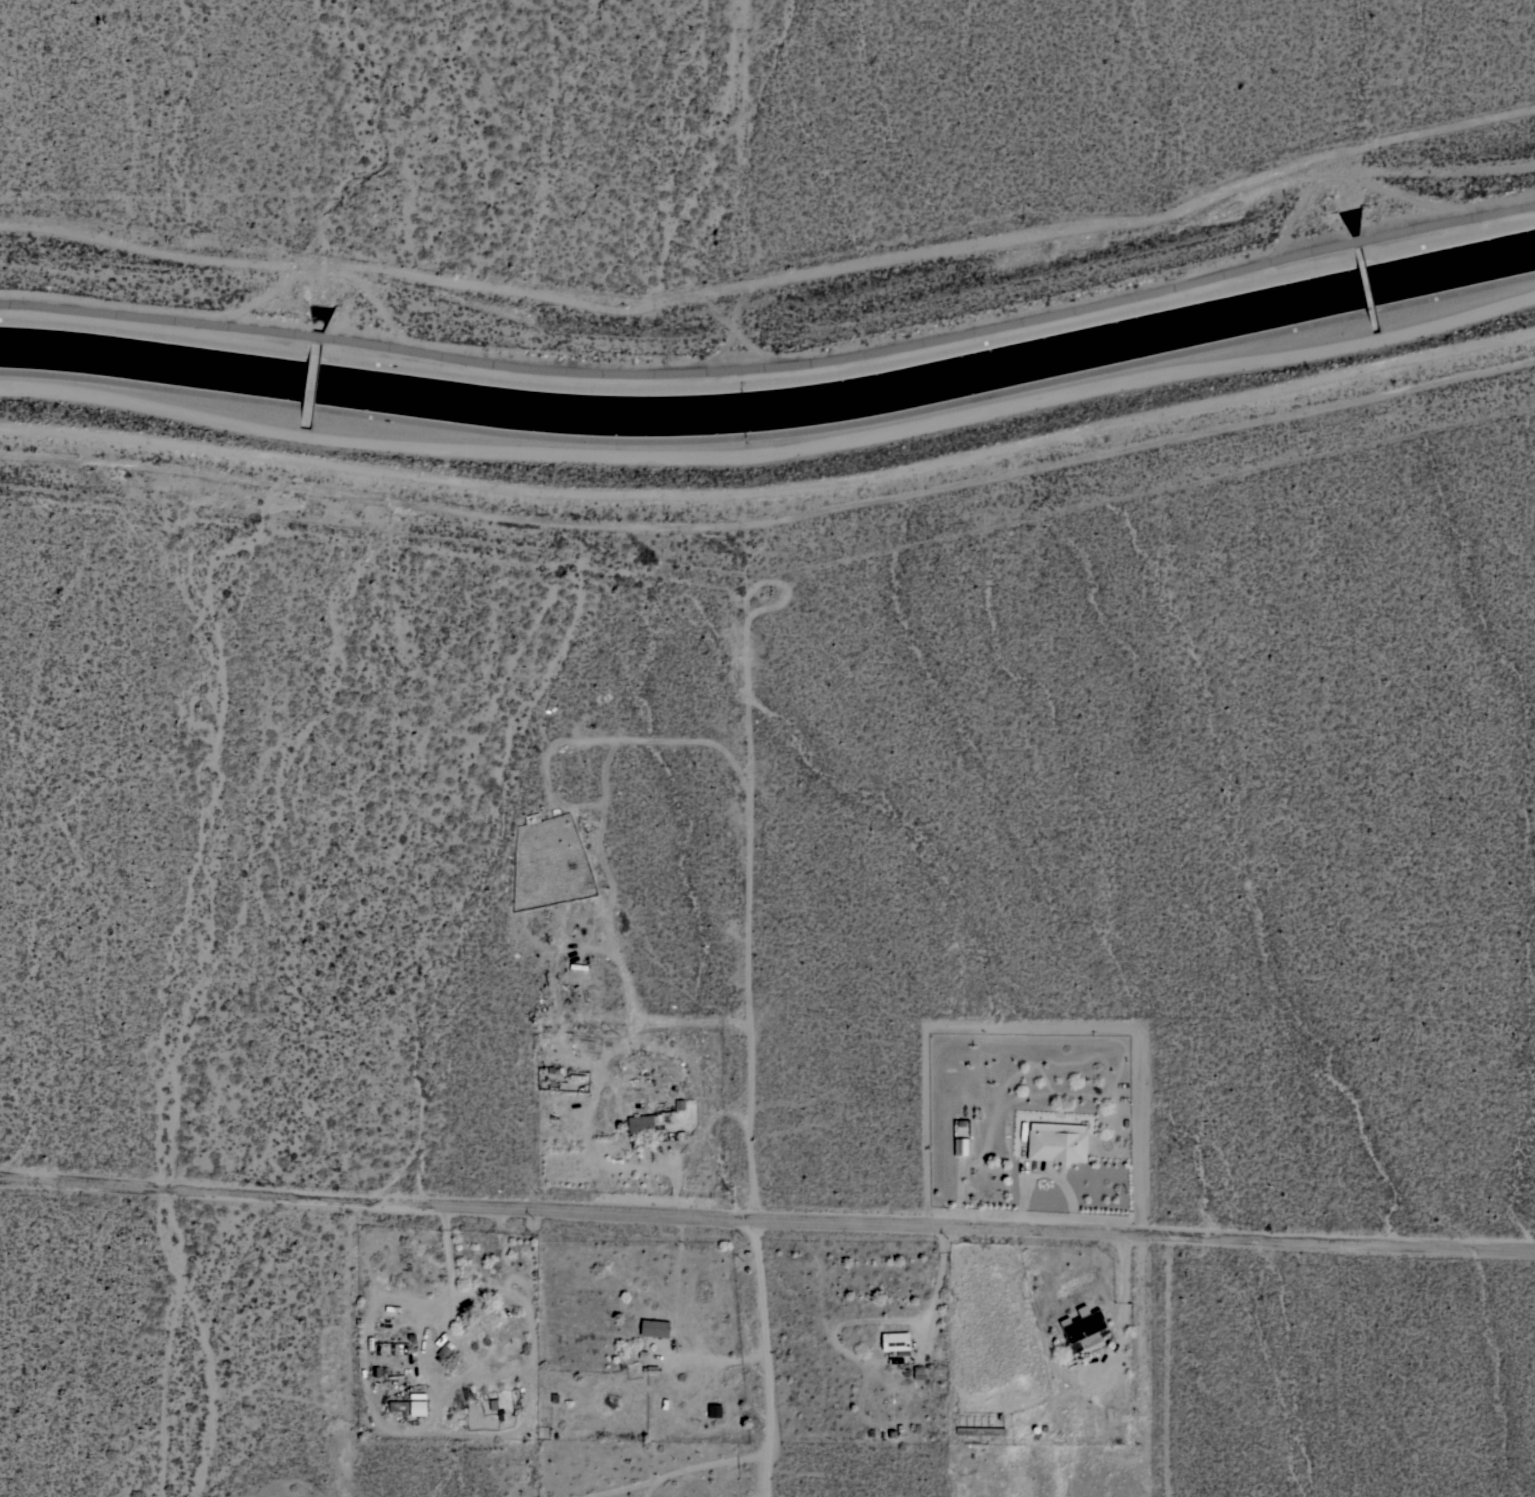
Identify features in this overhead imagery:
road: (716, 1021)
building: (643, 1123)
building: (1057, 1142)
road: (766, 1223)
building: (654, 1328)
building: (1082, 1329)
building: (896, 1342)
building: (443, 1352)
road: (776, 1359)
road: (1168, 1366)
building: (918, 1372)
building: (399, 1405)
building: (417, 1408)
building: (714, 1410)
building: (1094, 1422)
building: (1119, 1424)
building: (980, 1431)
road: (682, 1472)

